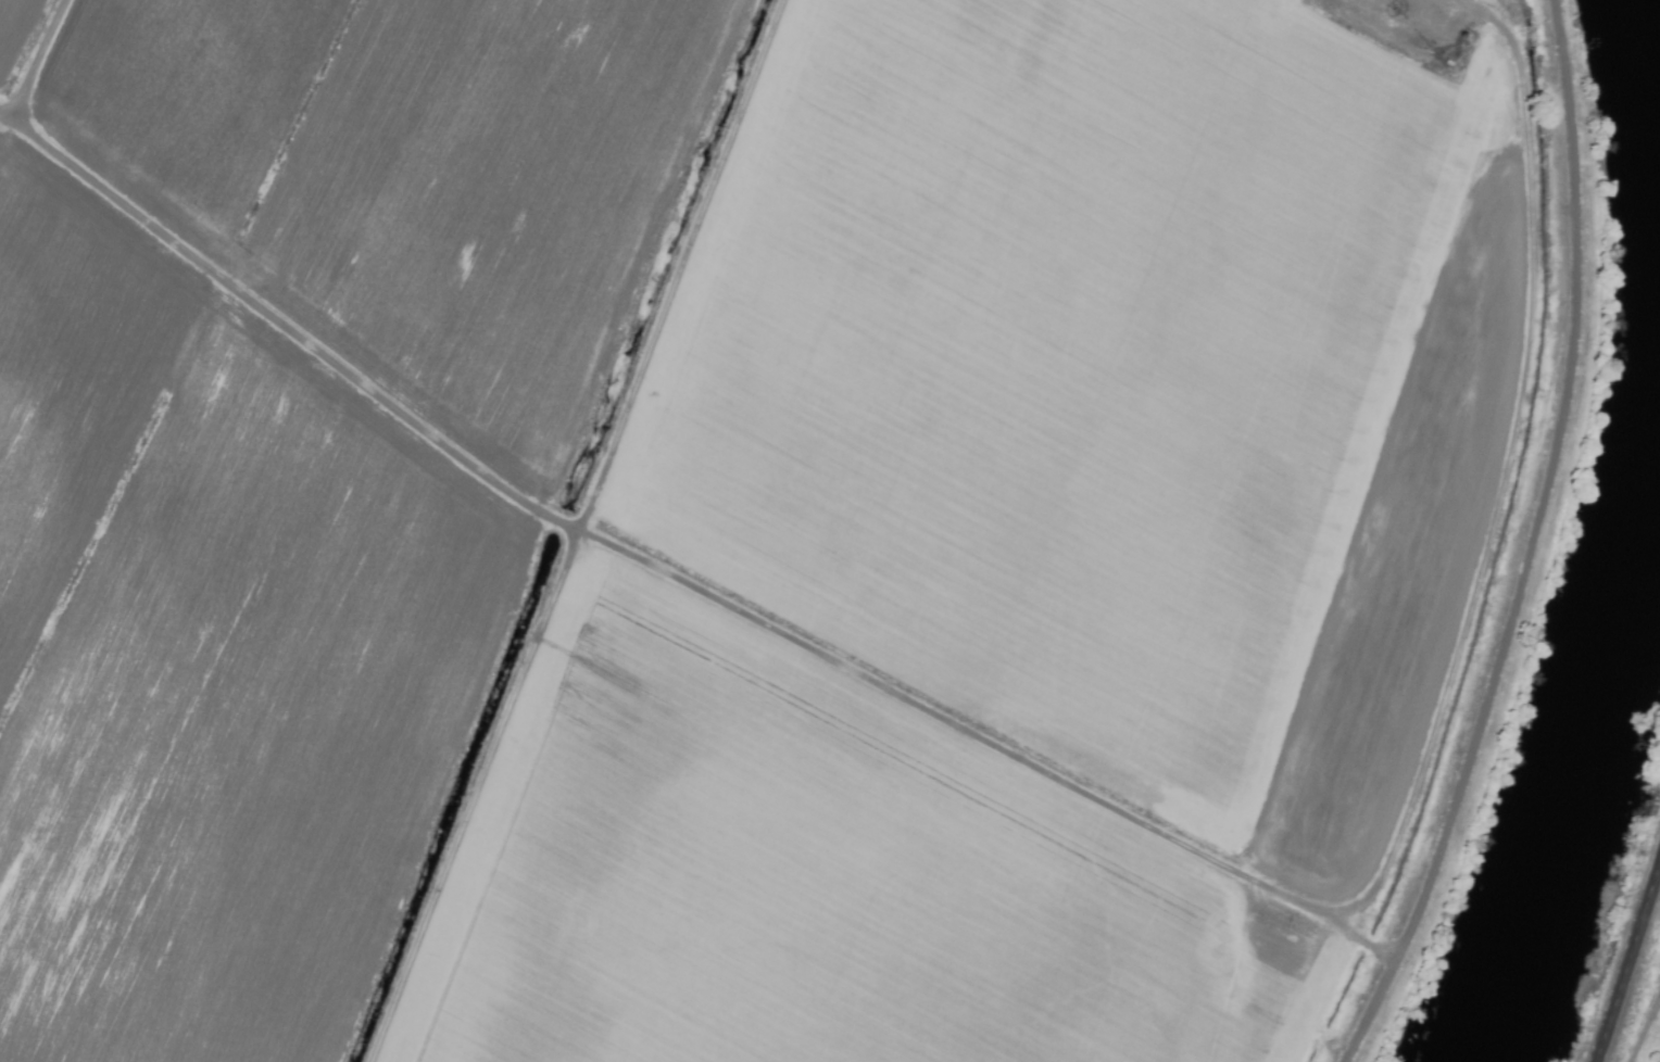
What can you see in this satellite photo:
road: (1495, 508)
crop: (759, 518)
road: (580, 536)
road: (1529, 545)
road: (1363, 946)
road: (1627, 961)
crop: (1643, 1004)
road: (1642, 1027)

